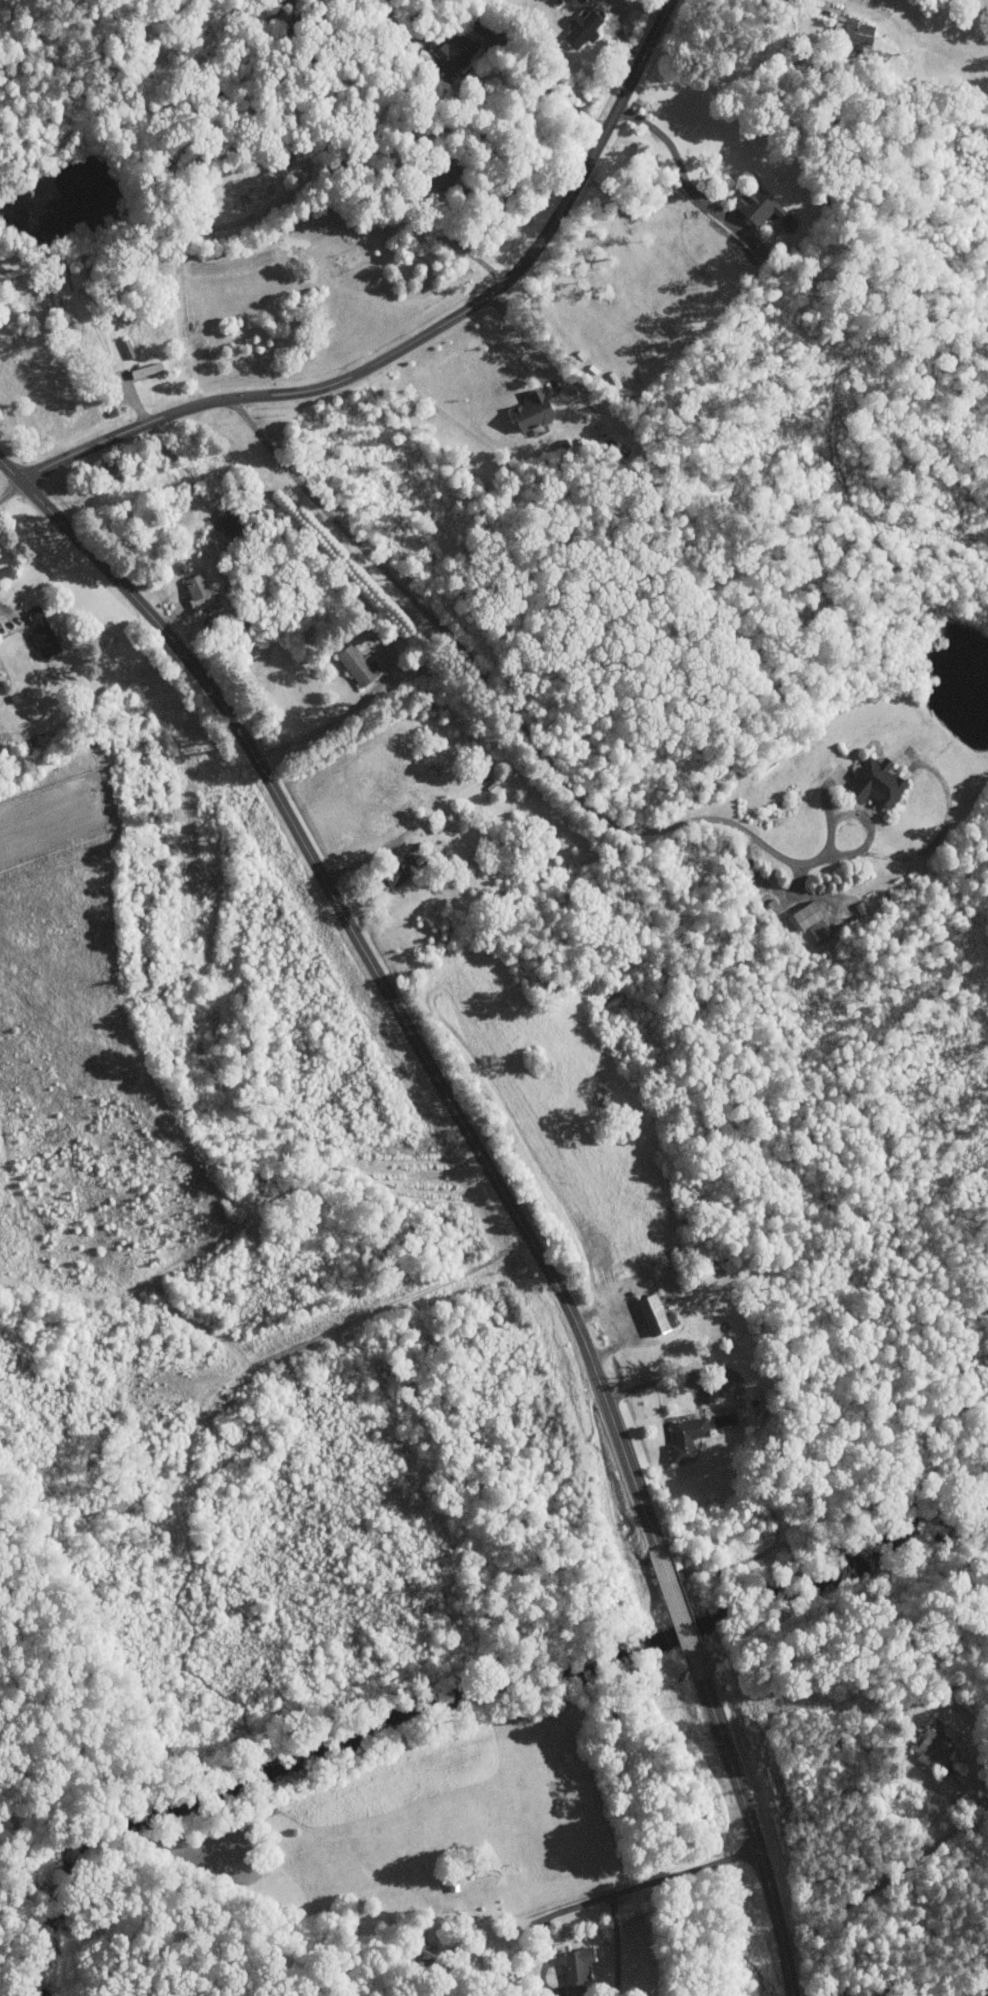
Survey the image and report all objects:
building: (585, 7)
road: (620, 19)
building: (584, 28)
building: (855, 31)
building: (457, 54)
road: (539, 81)
road: (676, 156)
building: (762, 207)
road: (462, 247)
road: (423, 338)
road: (526, 338)
building: (536, 412)
road: (9, 488)
building: (231, 522)
building: (200, 593)
road: (6, 611)
building: (43, 633)
building: (358, 666)
road: (328, 723)
road: (542, 752)
building: (881, 783)
road: (827, 795)
road: (938, 835)
road: (369, 855)
road: (765, 885)
building: (815, 922)
road: (375, 970)
building: (657, 1315)
road: (660, 1381)
building: (689, 1438)
road: (679, 1612)
building: (932, 1748)
road: (756, 1837)
road: (686, 1873)
road: (879, 1881)
road: (543, 1922)
road: (615, 1945)
building: (577, 1970)

